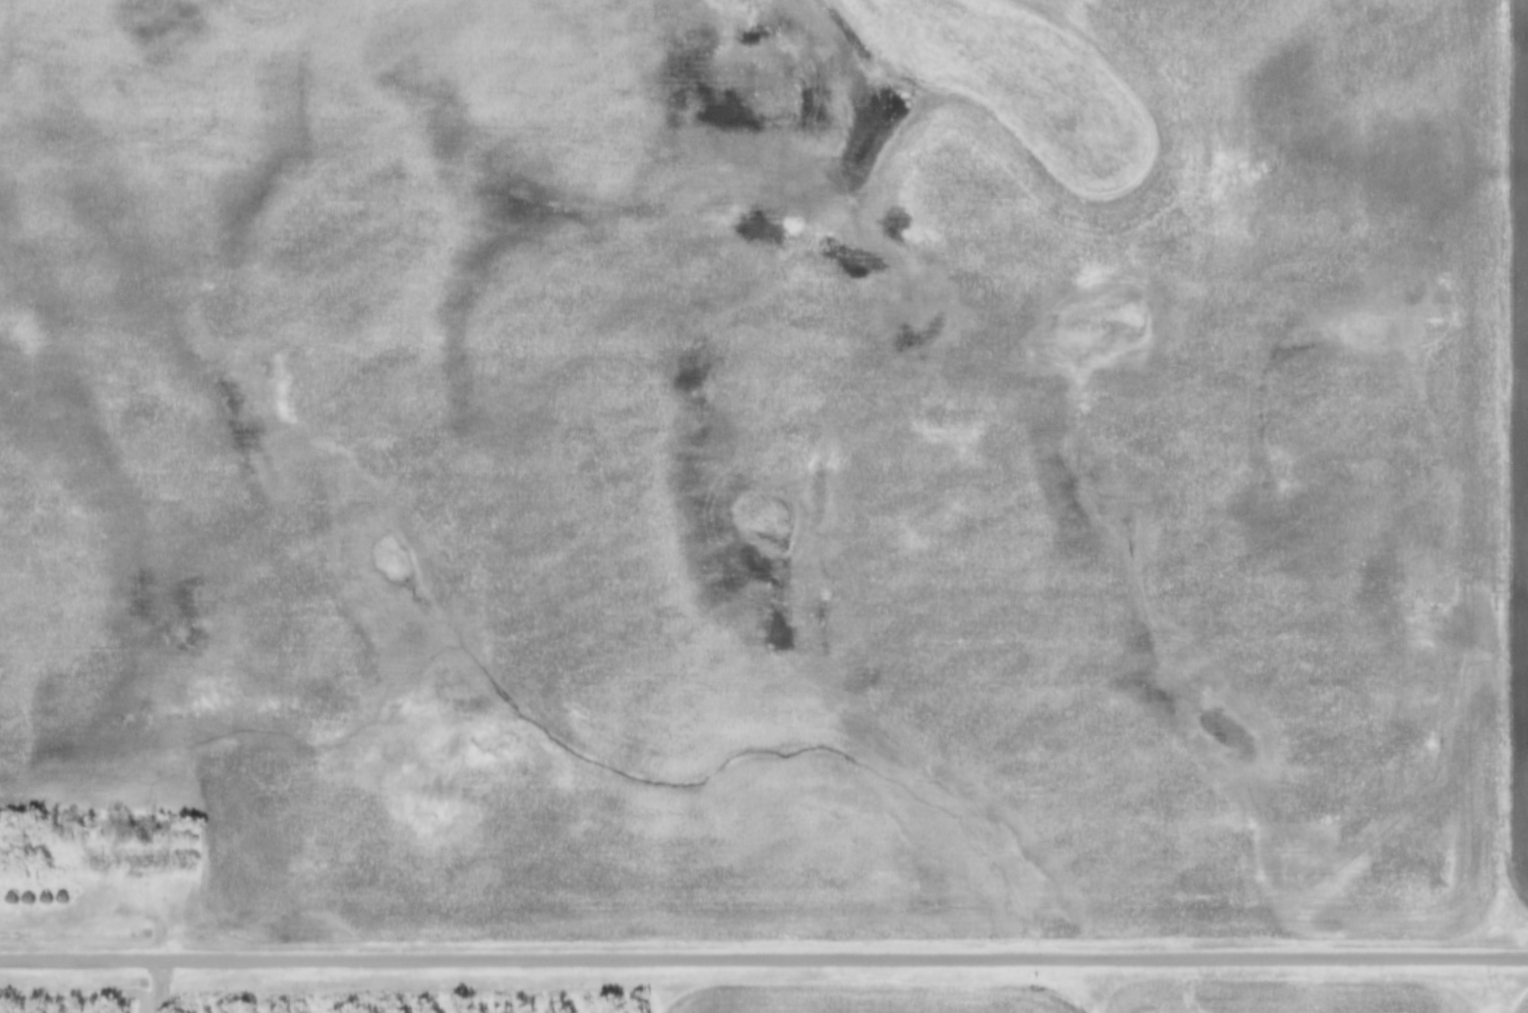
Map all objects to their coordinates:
road: (763, 961)
road: (162, 988)

